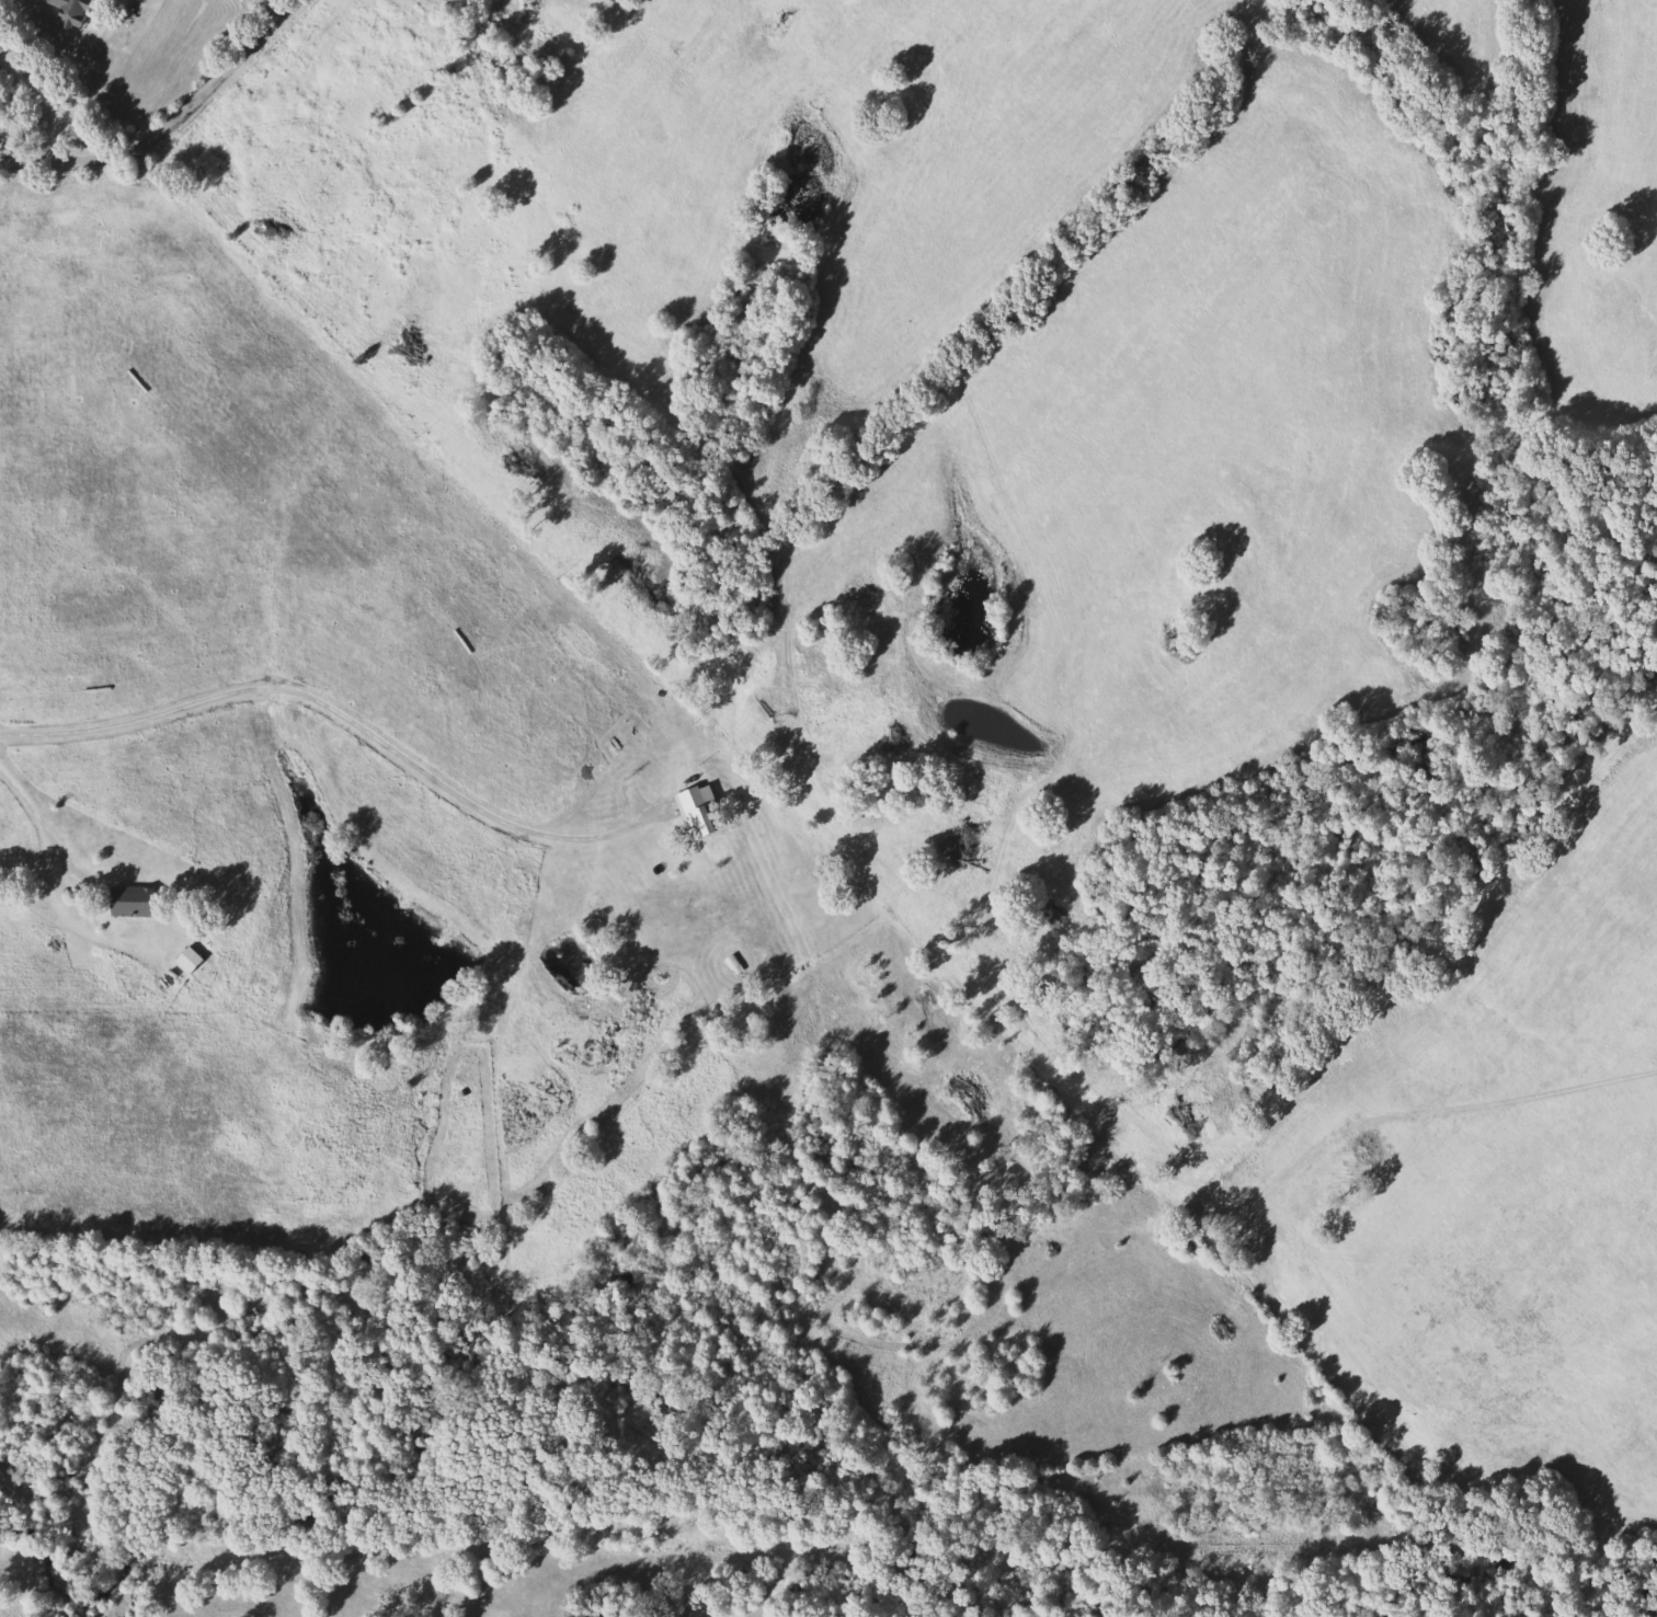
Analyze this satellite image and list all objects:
road: (273, 7)
building: (67, 12)
road: (169, 126)
road: (335, 701)
road: (39, 798)
building: (697, 818)
building: (125, 901)
building: (182, 959)
building: (728, 964)

